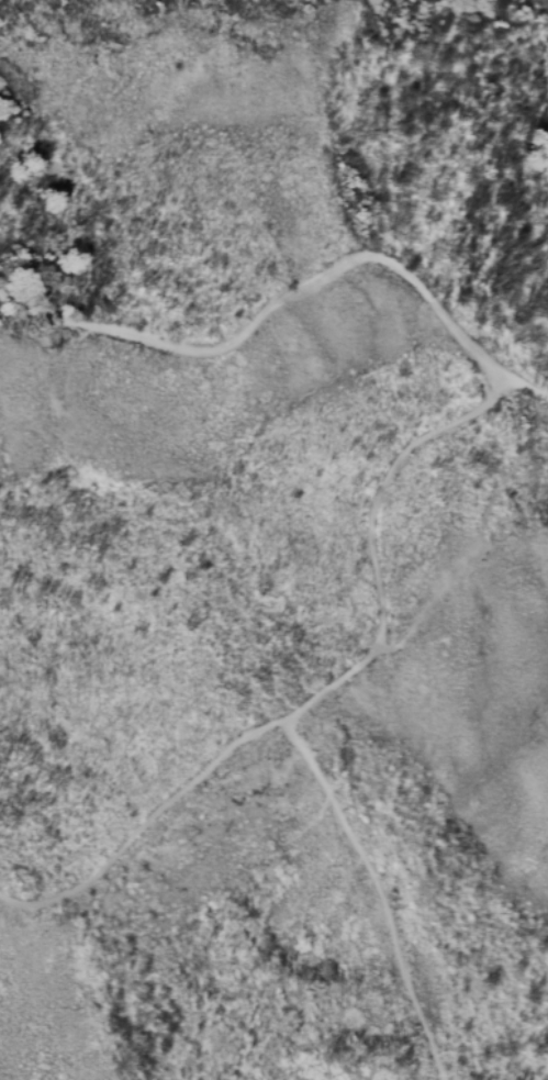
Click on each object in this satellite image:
road: (443, 587)

